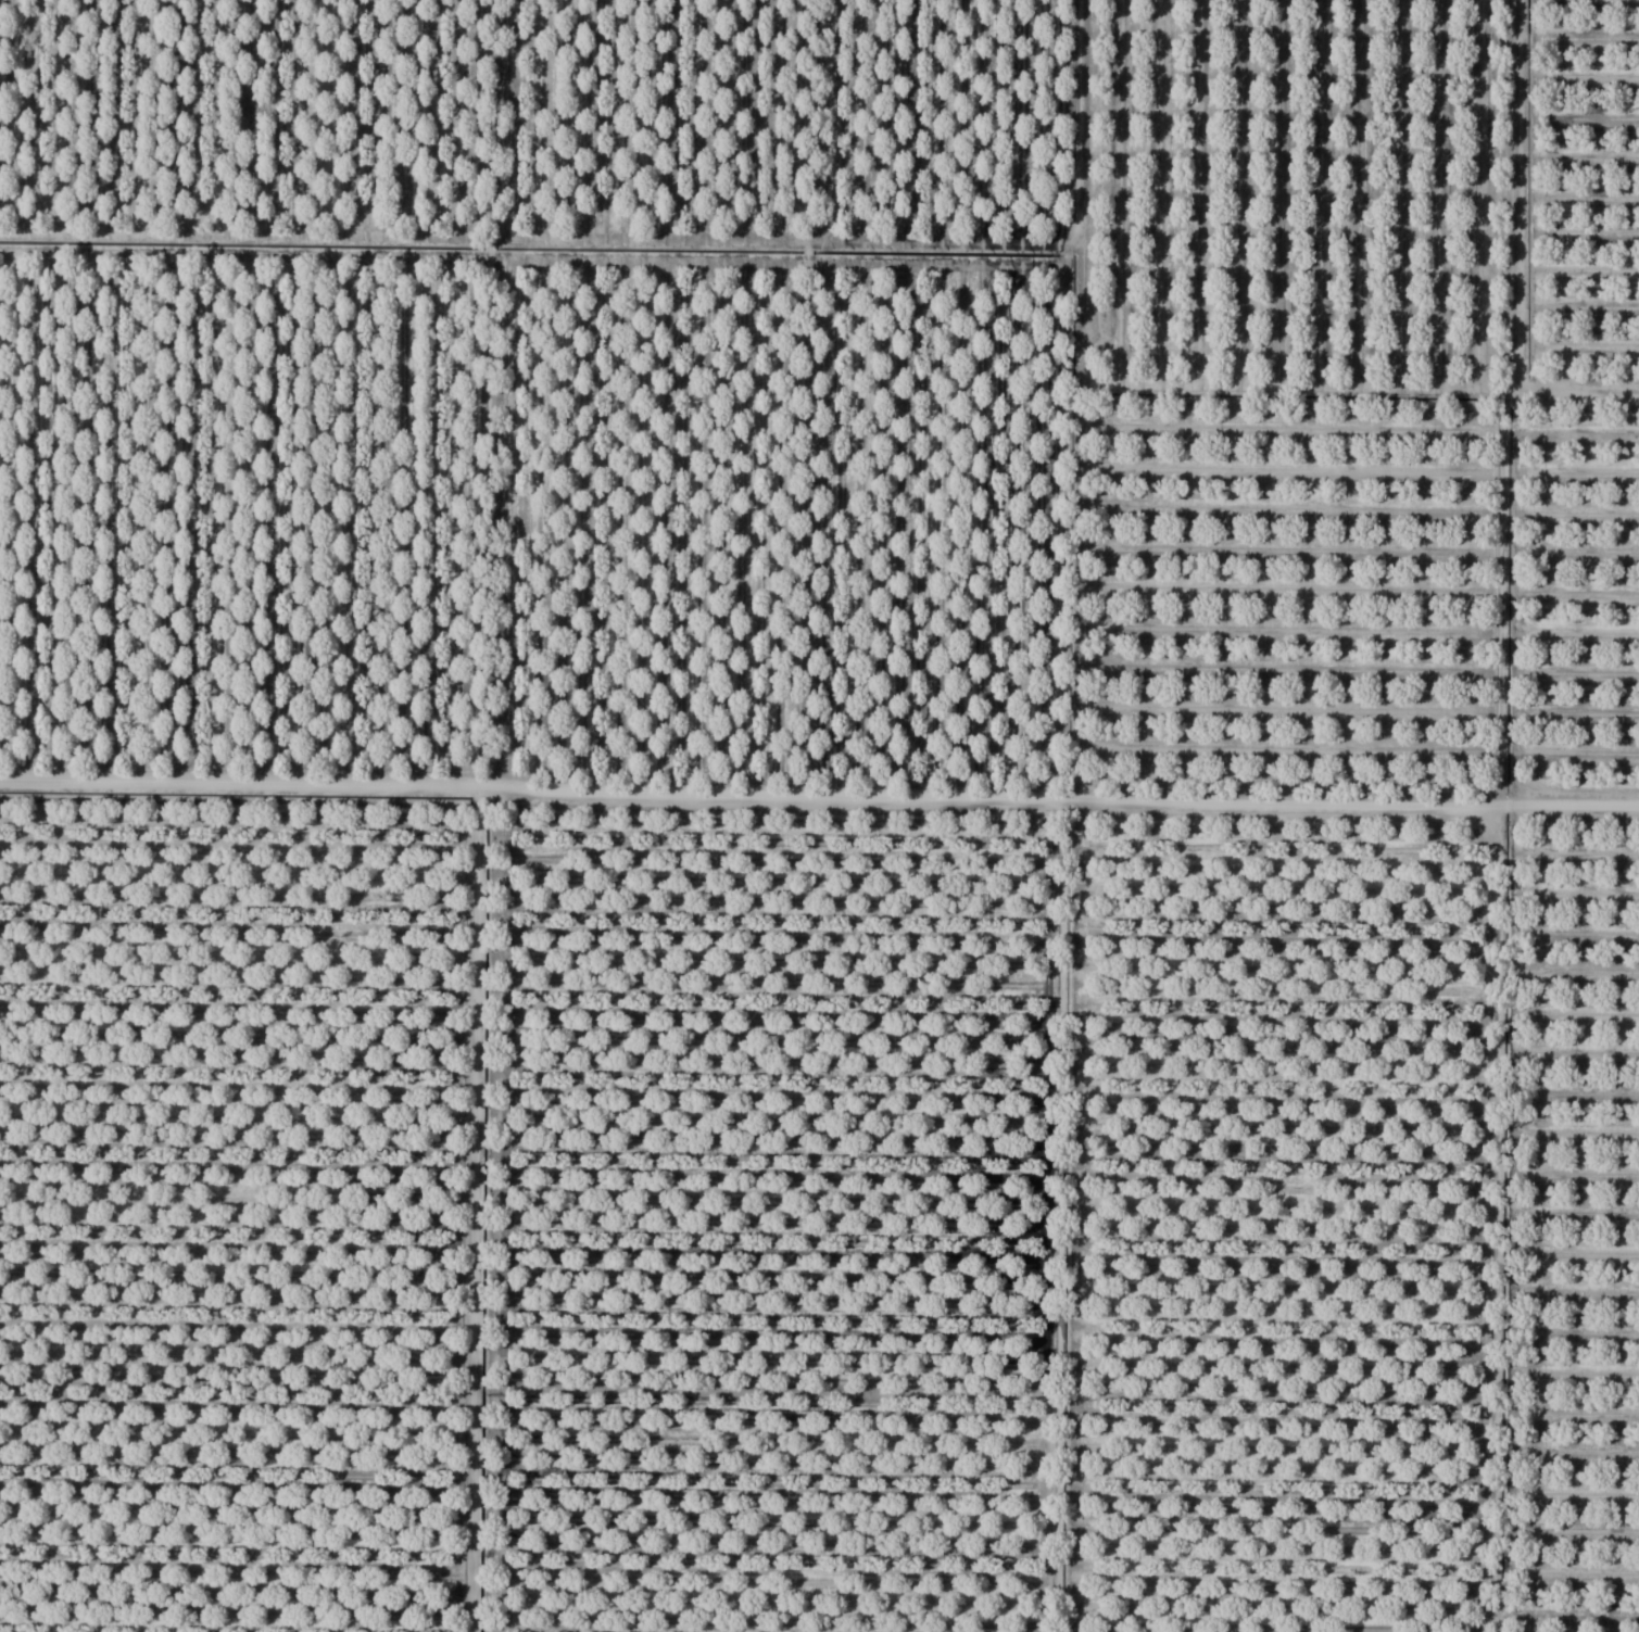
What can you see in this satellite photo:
road: (819, 792)

